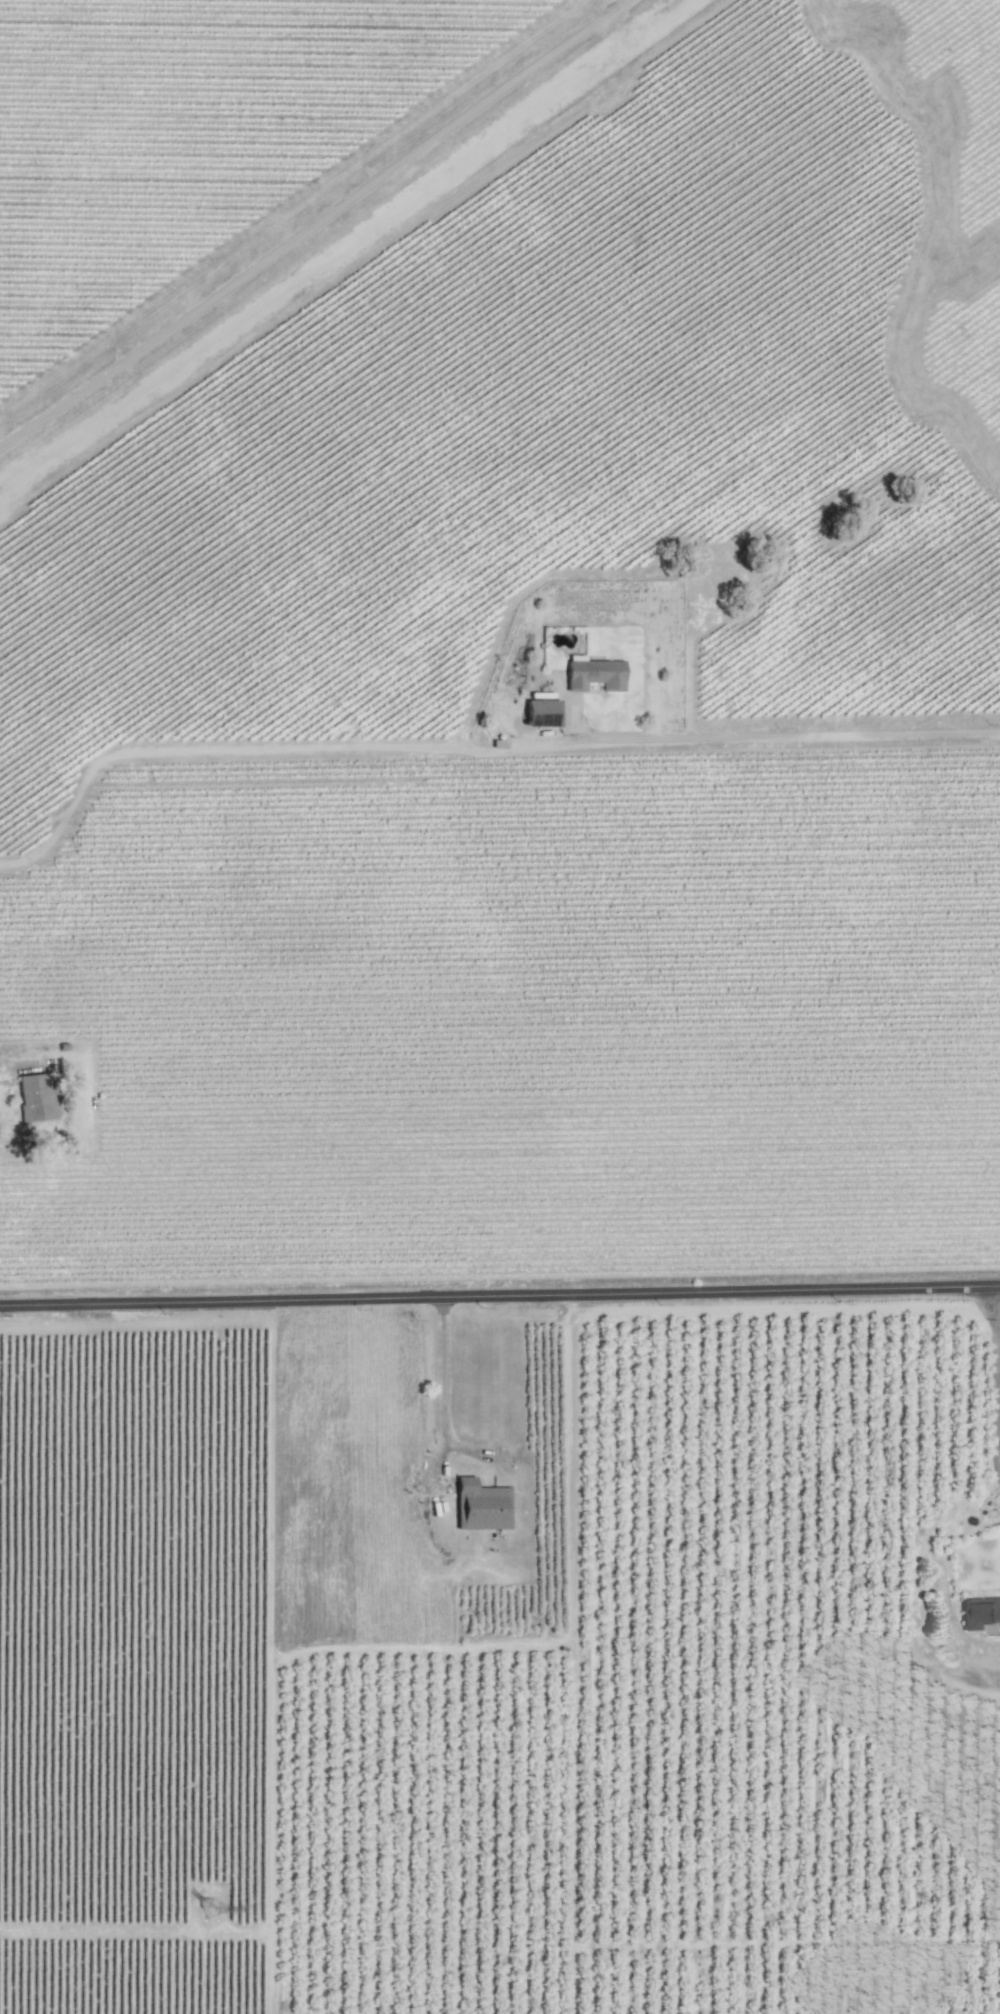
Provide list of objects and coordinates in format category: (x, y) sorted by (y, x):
road: (318, 228)
building: (597, 673)
building: (38, 1097)
road: (499, 1293)
road: (992, 1383)
road: (441, 1389)
road: (467, 1447)
road: (567, 1470)
building: (981, 1613)
power tower: (217, 1912)
road: (788, 1930)
road: (576, 1977)

